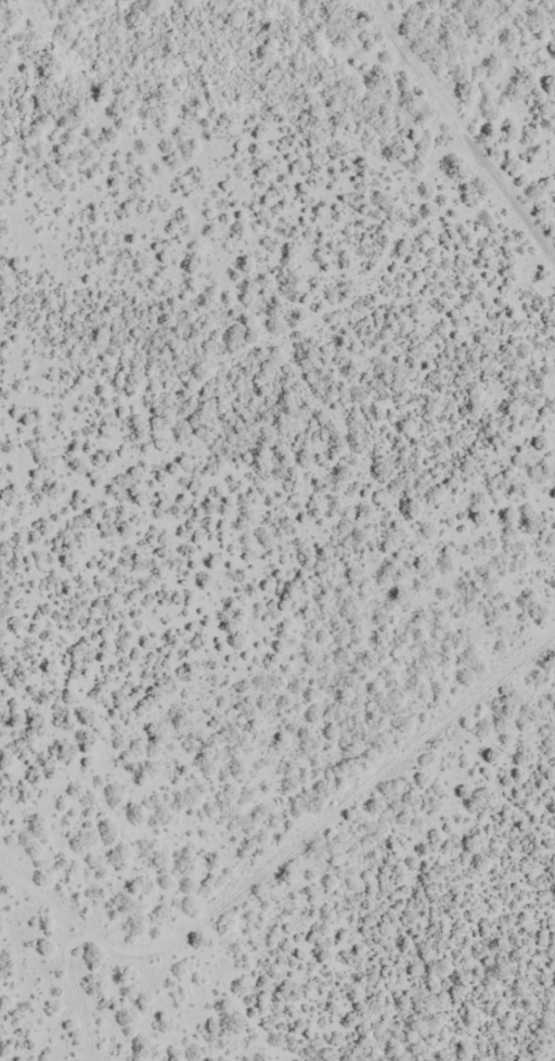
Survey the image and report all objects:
road: (294, 867)

